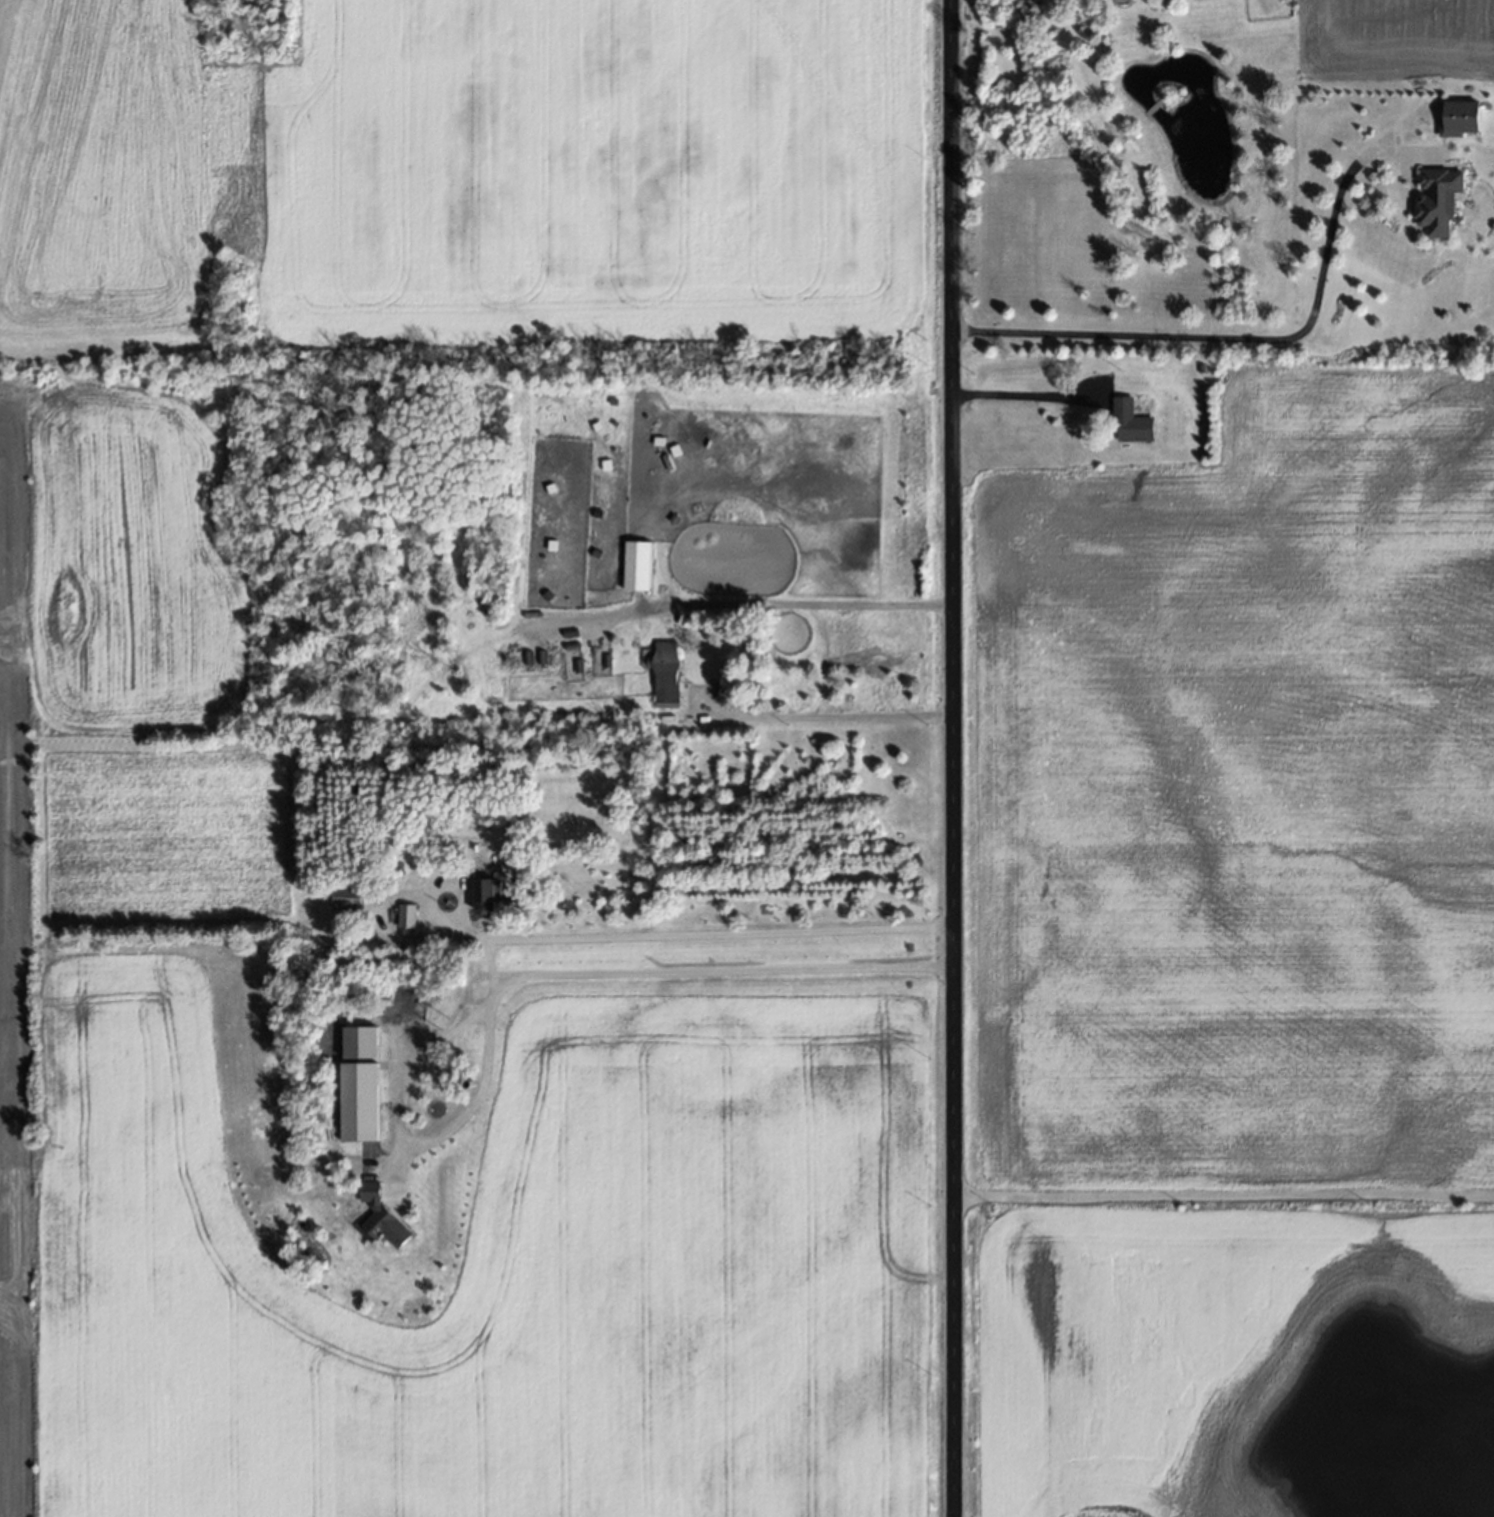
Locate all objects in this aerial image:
building: (1460, 117)
building: (1438, 199)
road: (1252, 338)
road: (1026, 392)
building: (1131, 421)
building: (637, 565)
road: (801, 603)
building: (667, 673)
road: (826, 715)
road: (950, 758)
building: (487, 893)
building: (348, 897)
building: (407, 915)
road: (633, 933)
road: (493, 963)
road: (529, 972)
building: (362, 1041)
building: (360, 1101)
road: (1222, 1195)
building: (381, 1217)

